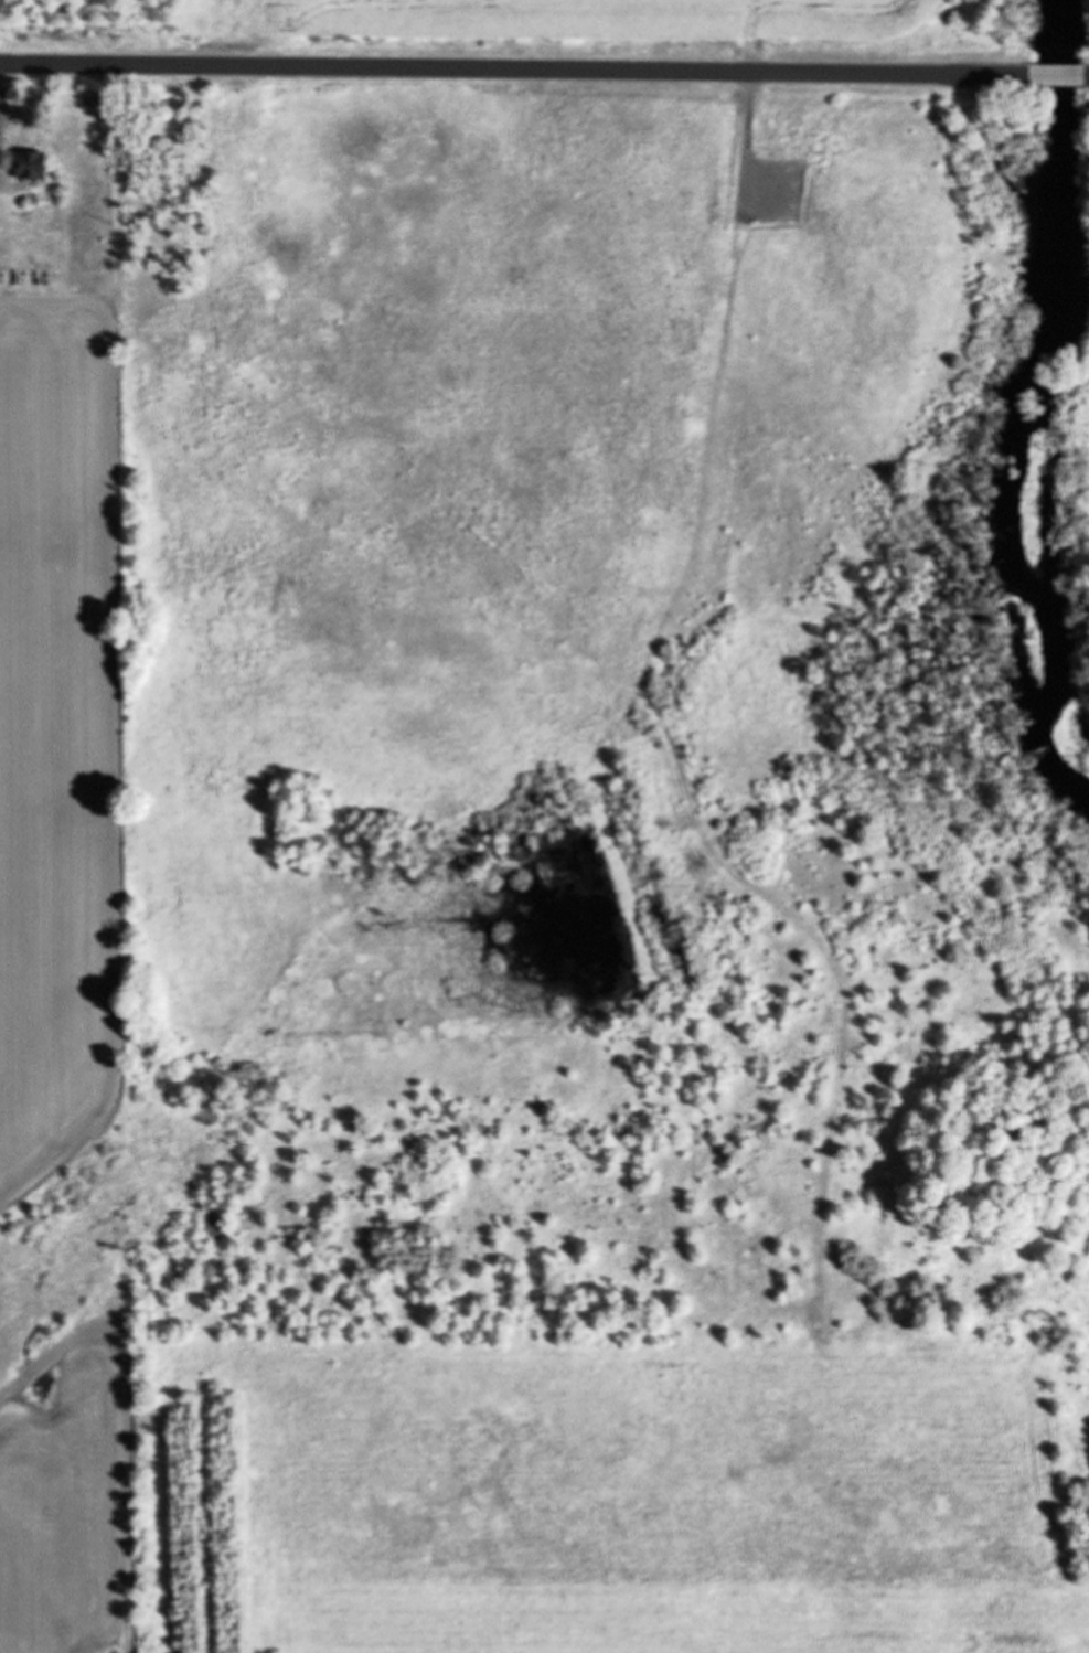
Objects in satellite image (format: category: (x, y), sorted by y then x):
quarry: (610, 29)
road: (512, 68)
road: (1055, 73)
road: (1087, 73)
building: (28, 163)
river: (1019, 422)

